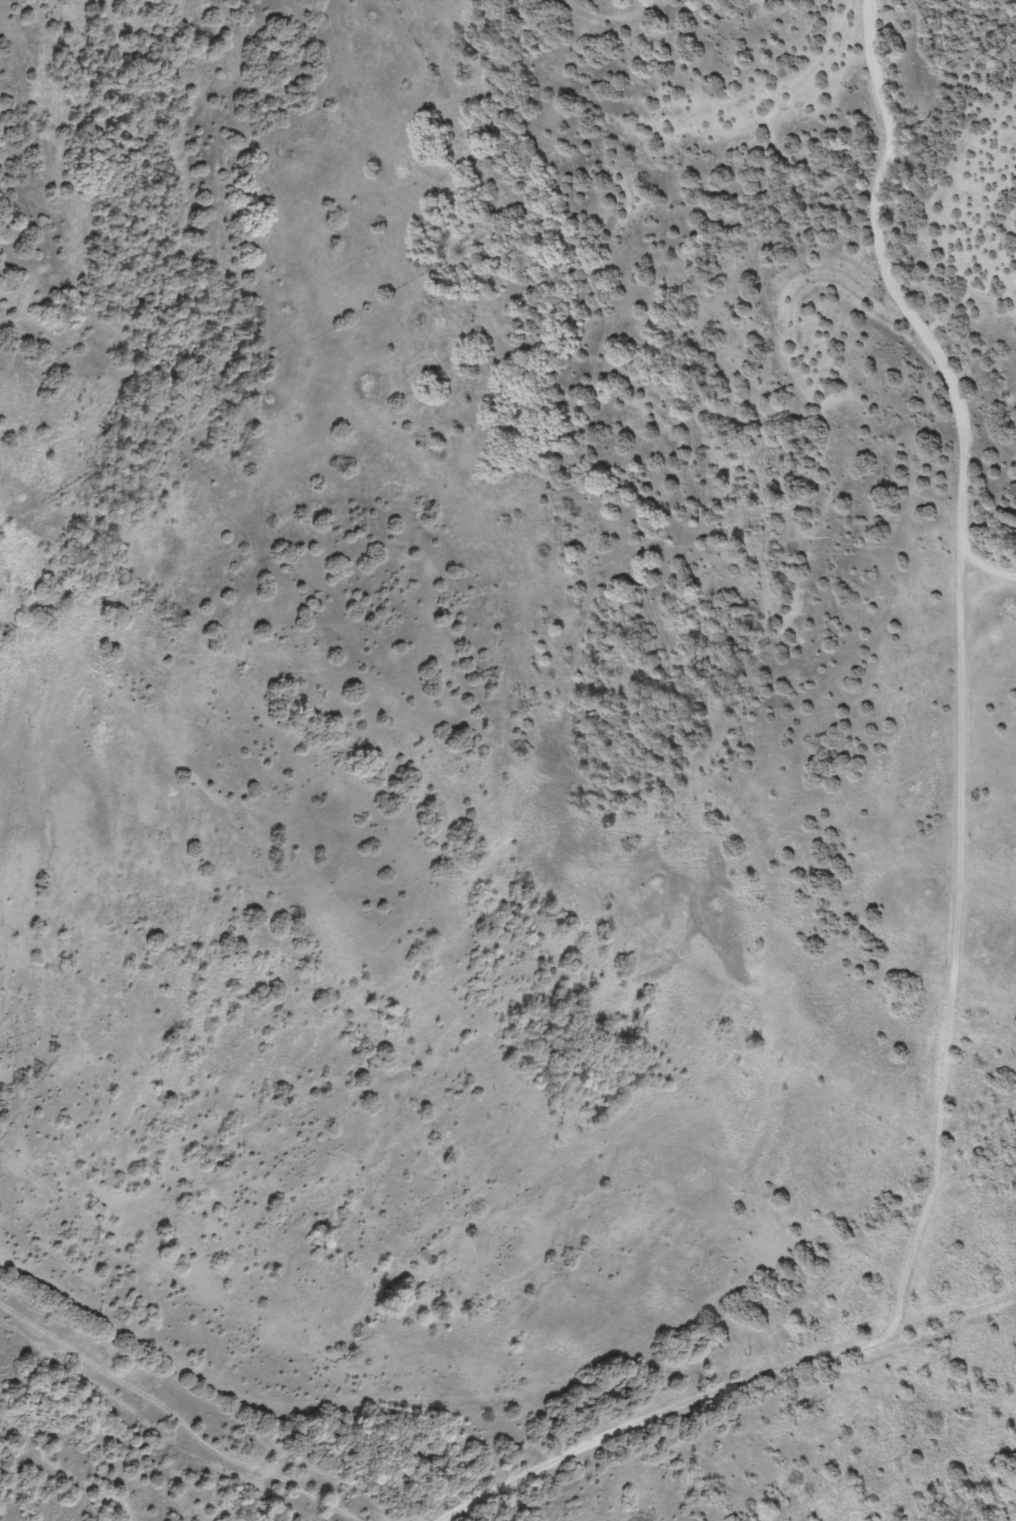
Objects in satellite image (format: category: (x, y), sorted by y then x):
road: (1005, 595)
road: (991, 647)
road: (706, 1383)

